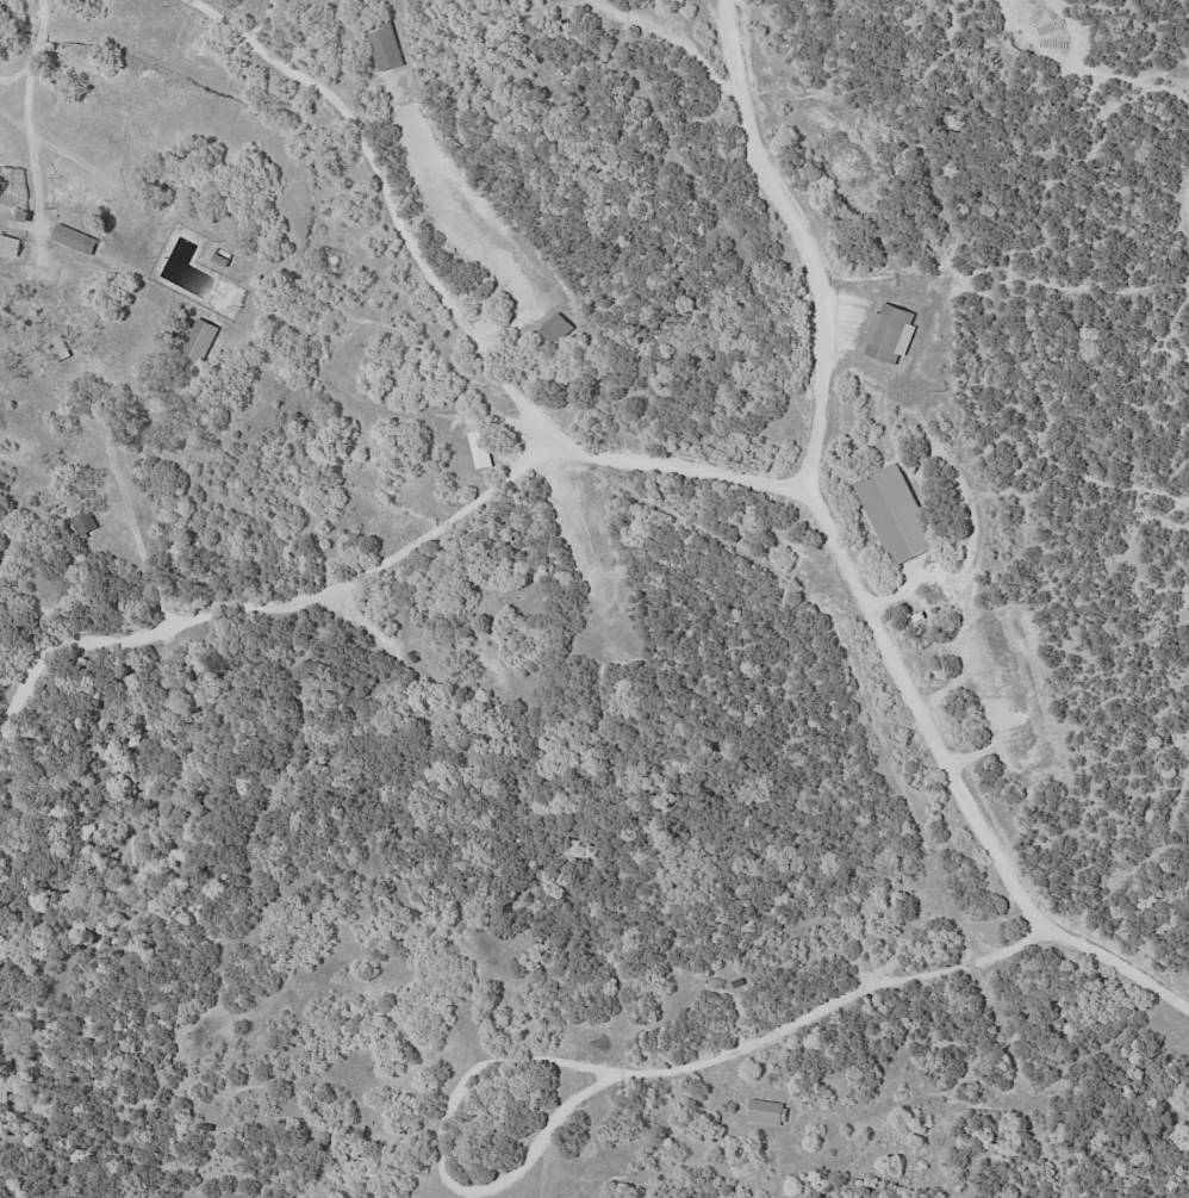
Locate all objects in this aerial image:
road: (19, 74)
road: (32, 124)
building: (74, 238)
building: (8, 244)
road: (455, 309)
building: (554, 328)
building: (889, 333)
building: (200, 340)
building: (480, 449)
building: (895, 513)
road: (840, 558)
road: (600, 1069)
building: (766, 1111)

